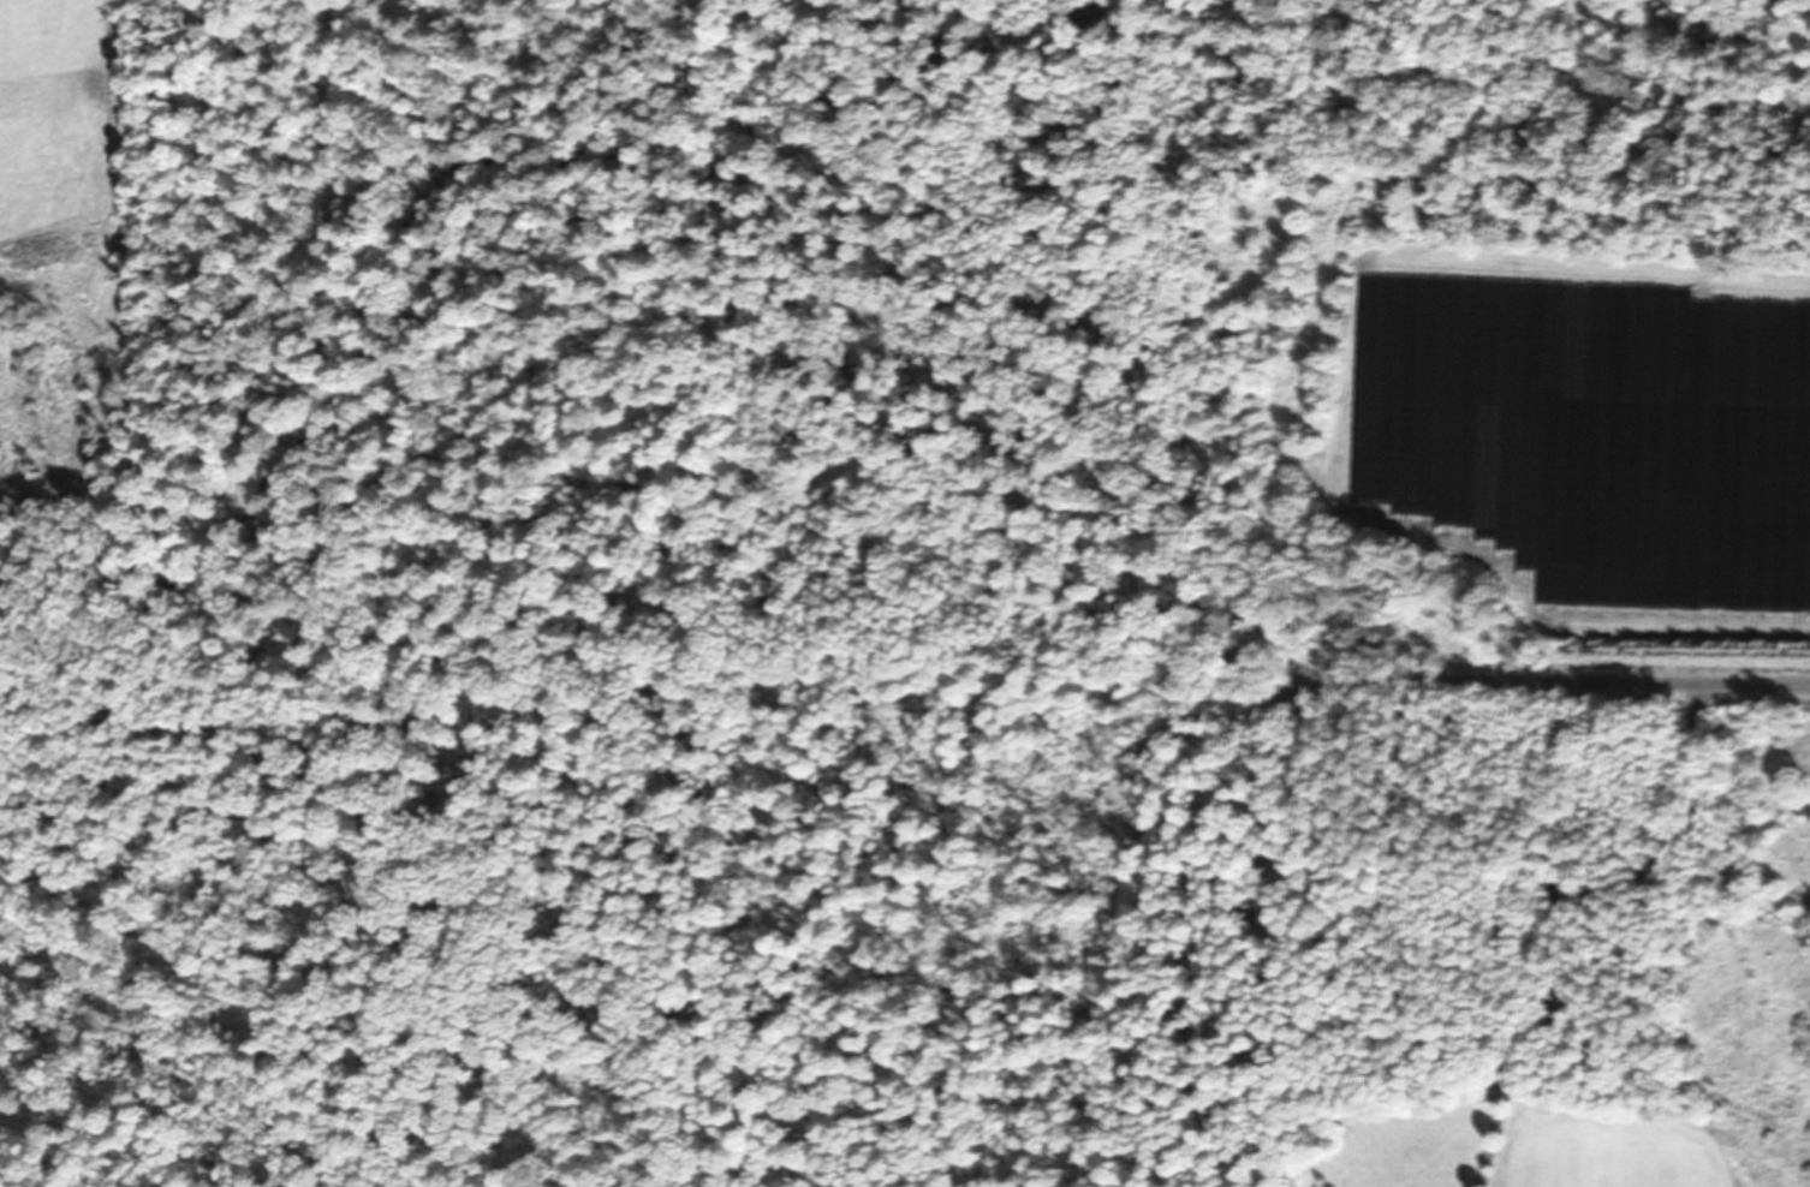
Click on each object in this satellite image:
road: (1552, 685)

